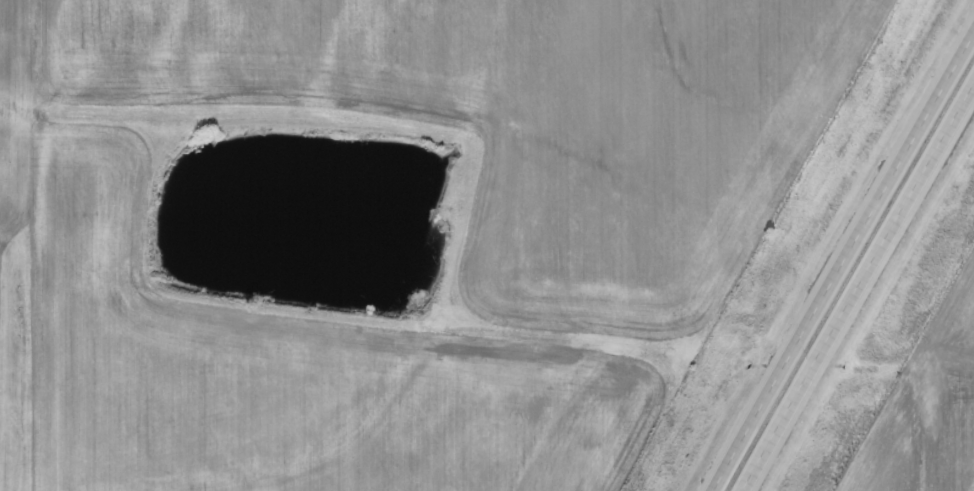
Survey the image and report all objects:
road: (842, 260)
road: (856, 285)

